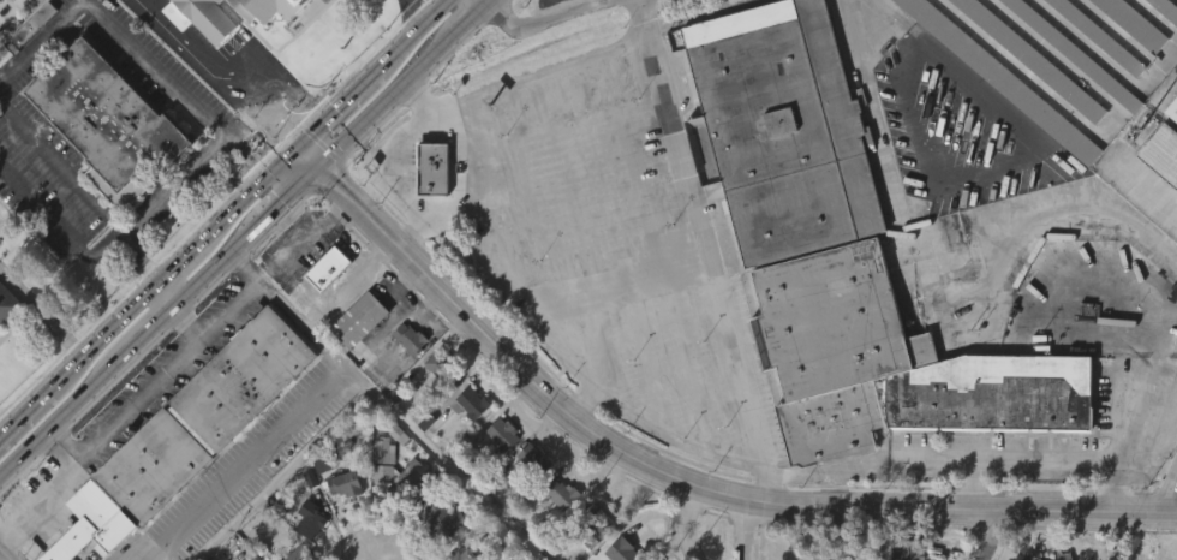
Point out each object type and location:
building: (1, 1)
road: (608, 2)
building: (276, 7)
building: (1167, 7)
road: (418, 13)
building: (1159, 13)
building: (203, 17)
road: (550, 20)
building: (1136, 23)
road: (113, 24)
building: (1101, 36)
building: (0, 40)
building: (1077, 54)
building: (1034, 58)
building: (1065, 58)
building: (25, 75)
building: (1042, 76)
road: (231, 79)
building: (1005, 79)
building: (1173, 109)
building: (986, 114)
road: (442, 117)
building: (115, 125)
traffic signals: (299, 144)
road: (251, 149)
building: (1164, 151)
road: (884, 159)
building: (103, 166)
traffic signals: (323, 167)
building: (434, 167)
road: (494, 183)
building: (1159, 199)
road: (112, 213)
building: (428, 213)
road: (1093, 216)
road: (223, 218)
road: (448, 224)
road: (59, 225)
road: (247, 240)
road: (712, 251)
building: (841, 251)
road: (137, 261)
building: (330, 268)
road: (14, 284)
road: (169, 294)
building: (10, 305)
building: (942, 305)
building: (323, 312)
road: (301, 320)
building: (360, 320)
road: (192, 321)
road: (56, 326)
building: (411, 339)
building: (6, 348)
building: (354, 363)
building: (441, 367)
building: (404, 382)
road: (365, 389)
building: (468, 401)
building: (431, 406)
road: (125, 412)
road: (1158, 423)
road: (669, 433)
building: (186, 434)
building: (498, 435)
road: (597, 437)
road: (64, 446)
building: (465, 447)
building: (536, 460)
road: (244, 461)
road: (970, 465)
building: (497, 478)
building: (349, 481)
building: (406, 484)
building: (377, 494)
building: (563, 494)
road: (1173, 500)
building: (528, 504)
road: (1087, 511)
road: (1173, 511)
building: (317, 517)
building: (396, 520)
building: (444, 520)
building: (599, 520)
road: (688, 522)
building: (340, 528)
road: (746, 529)
road: (838, 534)
road: (992, 535)
building: (558, 538)
building: (909, 548)
building: (623, 550)
building: (306, 554)
building: (432, 554)
building: (460, 554)
building: (1033, 556)
road: (144, 559)

